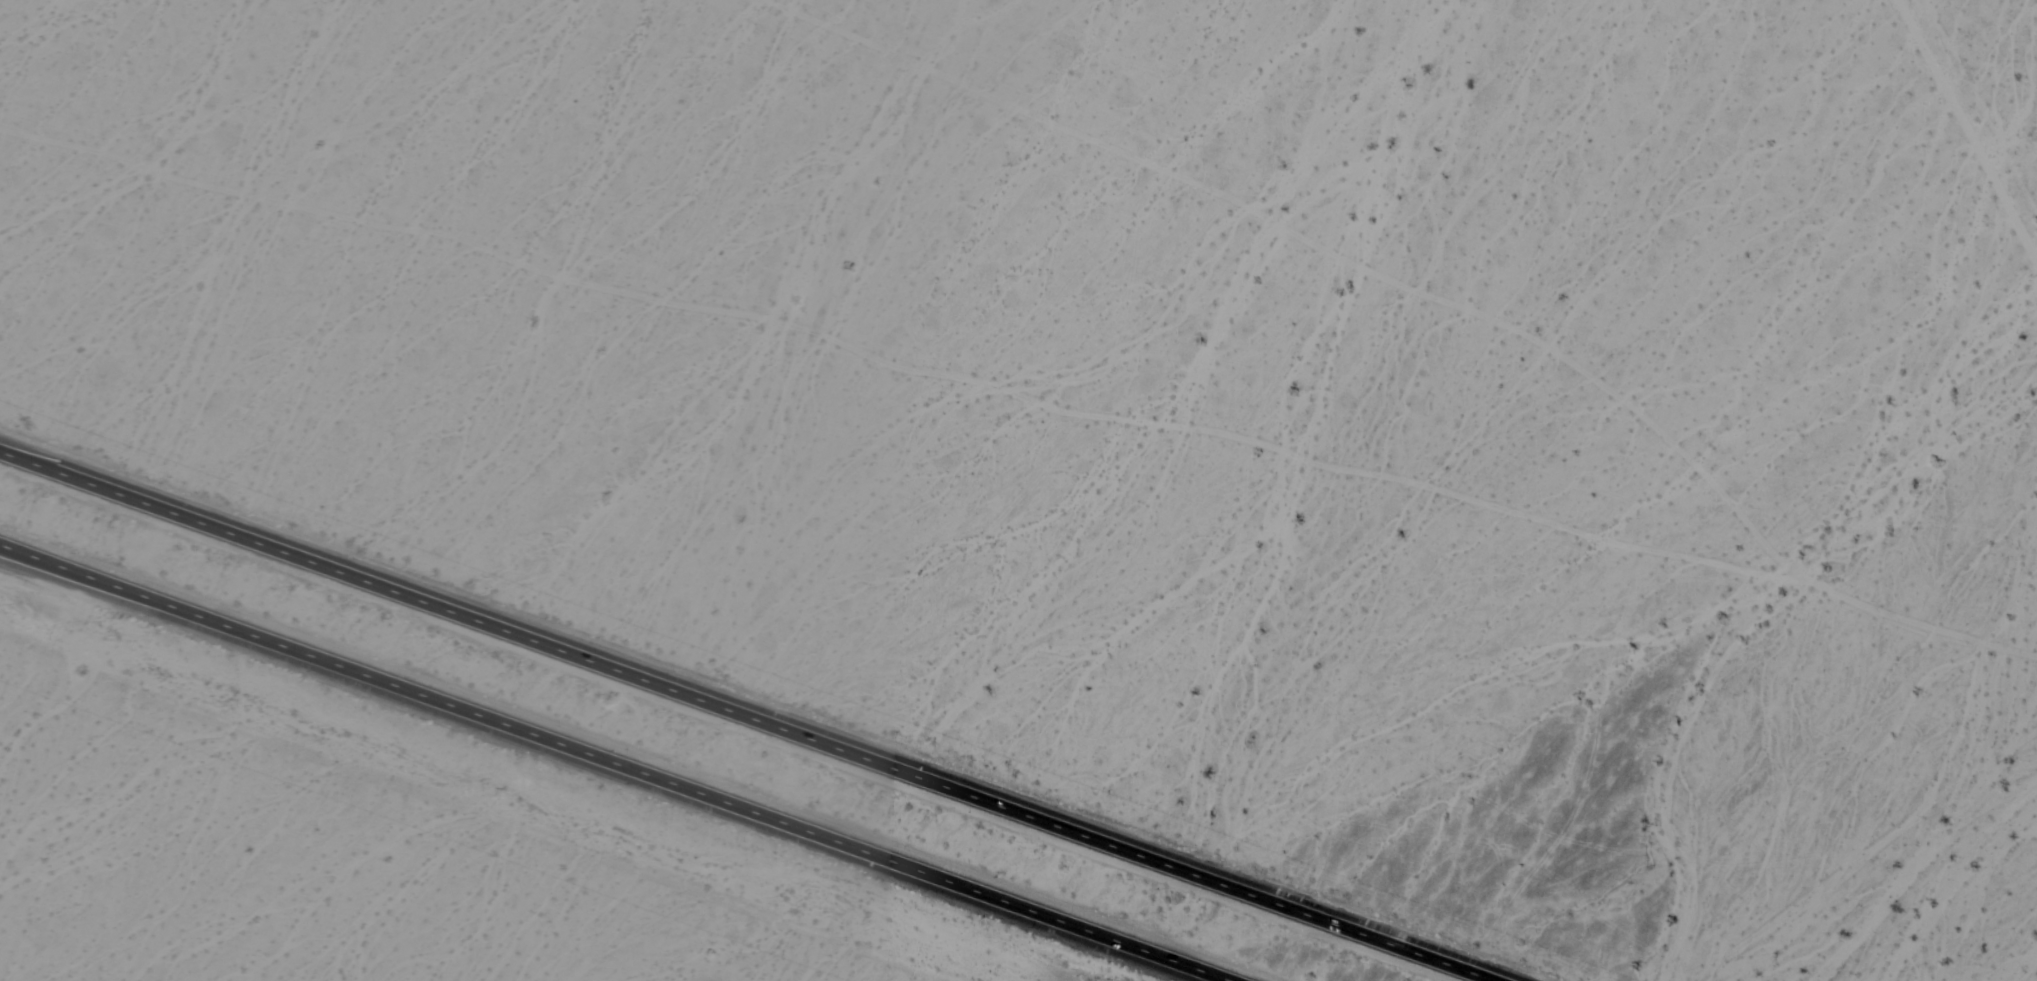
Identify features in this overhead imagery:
road: (1966, 132)
road: (753, 713)
road: (626, 758)

